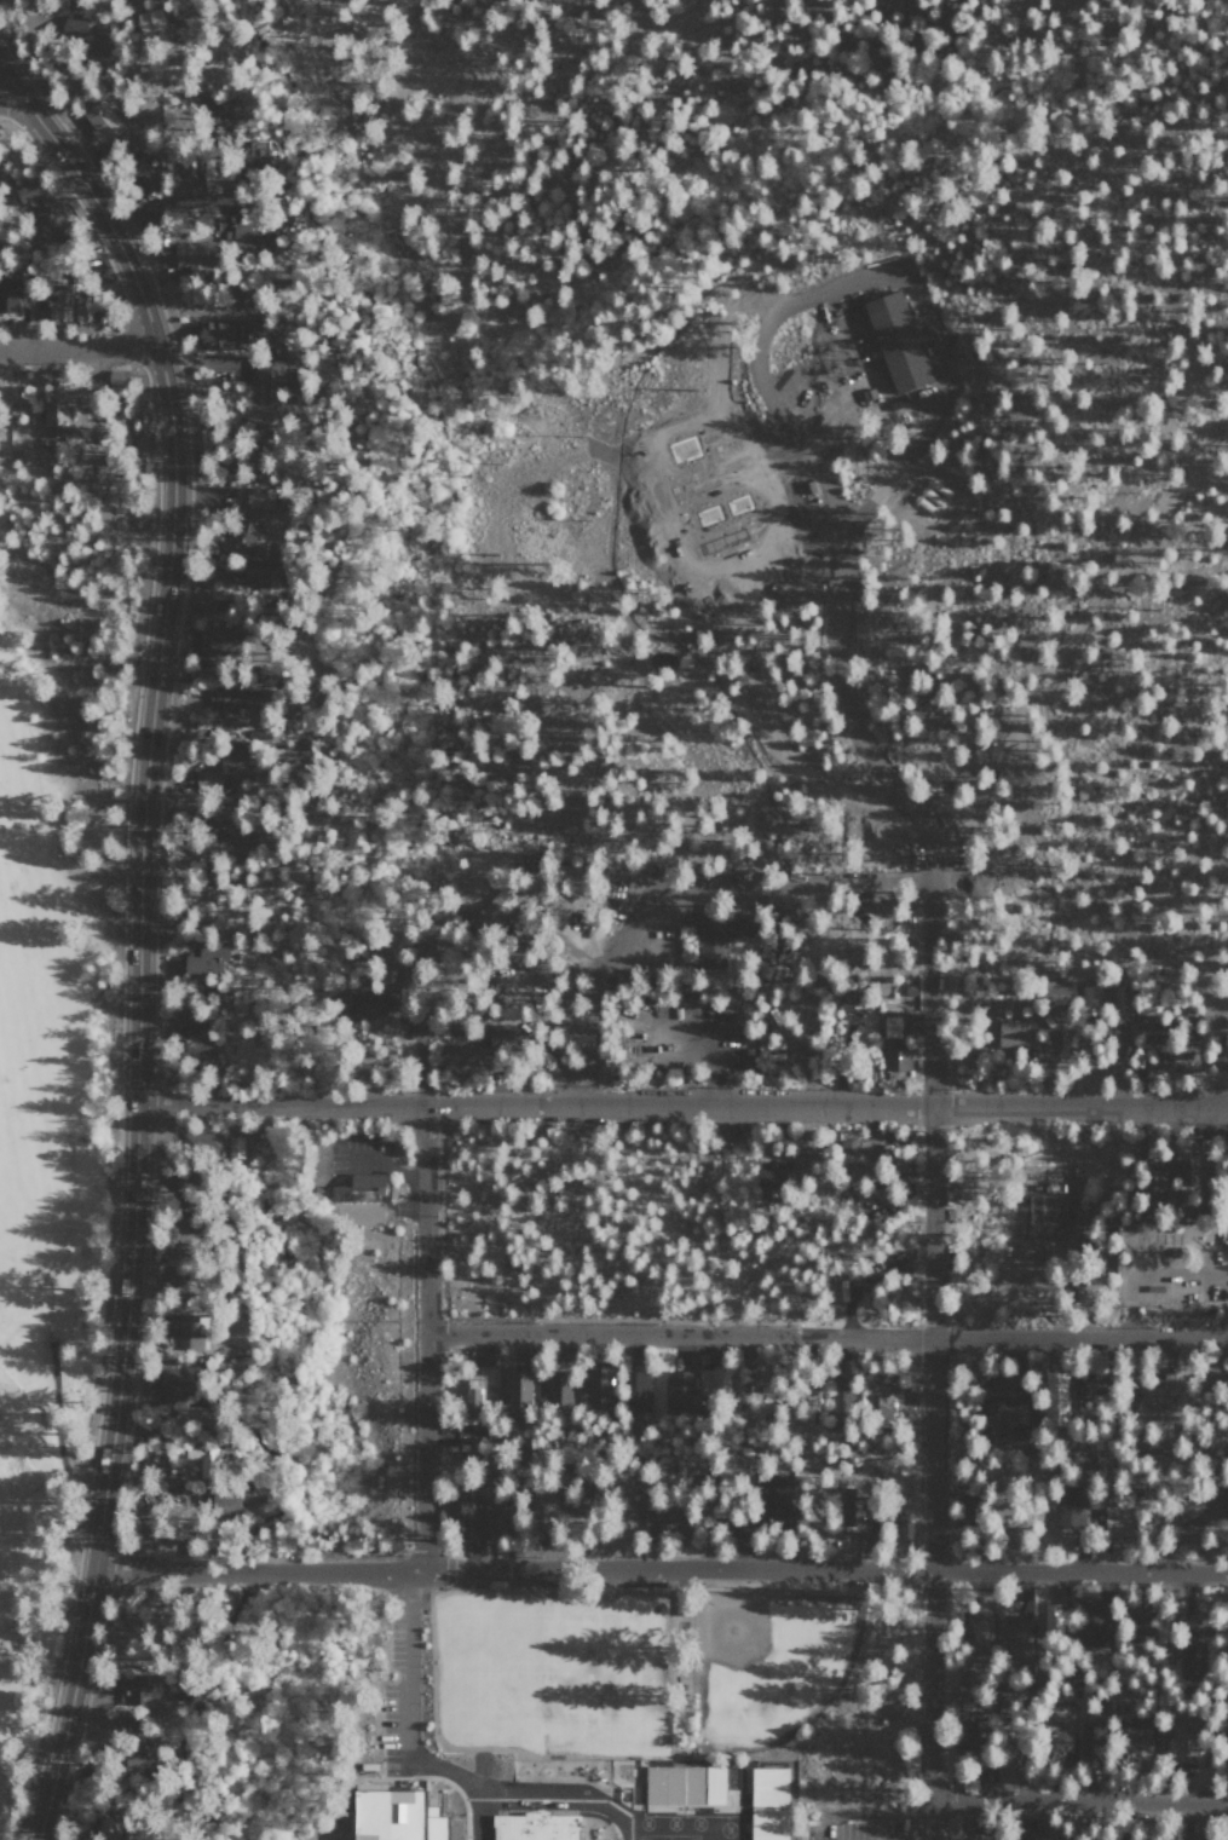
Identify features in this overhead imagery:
building: (149, 19)
building: (71, 24)
road: (11, 85)
road: (11, 99)
building: (219, 115)
building: (103, 120)
building: (260, 152)
building: (189, 167)
building: (142, 171)
building: (38, 203)
road: (183, 214)
building: (249, 235)
building: (194, 255)
building: (8, 292)
building: (62, 301)
building: (86, 305)
building: (218, 334)
building: (895, 340)
road: (77, 350)
building: (117, 376)
building: (271, 380)
building: (50, 406)
power substation: (846, 414)
building: (254, 428)
building: (138, 445)
building: (258, 497)
building: (244, 537)
road: (842, 544)
building: (259, 578)
road: (1, 590)
road: (1092, 606)
building: (215, 641)
building: (264, 674)
building: (225, 705)
building: (223, 825)
road: (949, 838)
road: (1008, 843)
building: (497, 905)
building: (716, 935)
building: (431, 950)
road: (138, 953)
building: (206, 961)
building: (1054, 993)
building: (851, 997)
building: (1090, 998)
building: (1122, 1000)
building: (342, 1002)
building: (373, 1004)
park: (58, 1016)
building: (500, 1034)
building: (1013, 1034)
building: (190, 1037)
building: (1168, 1045)
building: (895, 1056)
building: (462, 1059)
road: (681, 1104)
building: (208, 1142)
building: (234, 1147)
building: (848, 1155)
building: (1220, 1169)
building: (1186, 1172)
building: (769, 1184)
building: (351, 1186)
building: (1153, 1188)
building: (367, 1212)
building: (173, 1280)
building: (188, 1333)
road: (824, 1336)
road: (928, 1365)
building: (172, 1379)
building: (714, 1382)
building: (1223, 1384)
building: (596, 1385)
building: (1155, 1388)
building: (515, 1389)
building: (555, 1389)
building: (1090, 1390)
road: (419, 1391)
building: (635, 1391)
building: (678, 1392)
building: (489, 1395)
building: (472, 1398)
building: (1055, 1398)
building: (882, 1409)
building: (1004, 1421)
building: (197, 1453)
building: (162, 1466)
road: (59, 1494)
building: (231, 1499)
building: (773, 1500)
building: (855, 1505)
building: (1188, 1505)
building: (1071, 1506)
building: (538, 1511)
building: (459, 1513)
building: (496, 1518)
building: (1117, 1521)
building: (671, 1527)
road: (814, 1568)
road: (248, 1569)
building: (1090, 1623)
building: (1136, 1627)
building: (980, 1636)
building: (1019, 1640)
building: (1190, 1660)
building: (138, 1691)
building: (133, 1729)
building: (508, 1729)
building: (1134, 1729)
building: (973, 1736)
building: (1227, 1736)
building: (1089, 1738)
building: (1181, 1742)
building: (1055, 1746)
building: (133, 1759)
building: (1004, 1765)
building: (669, 1782)
road: (1077, 1800)
building: (774, 1802)
building: (109, 1805)
building: (407, 1812)
building: (535, 1825)
building: (108, 1827)
building: (1036, 1835)
building: (1203, 1835)

